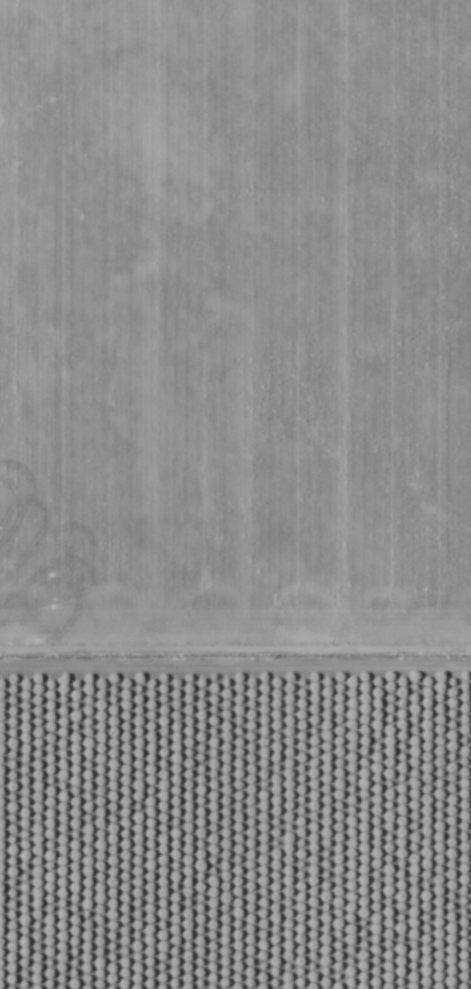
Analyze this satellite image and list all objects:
road: (235, 661)

